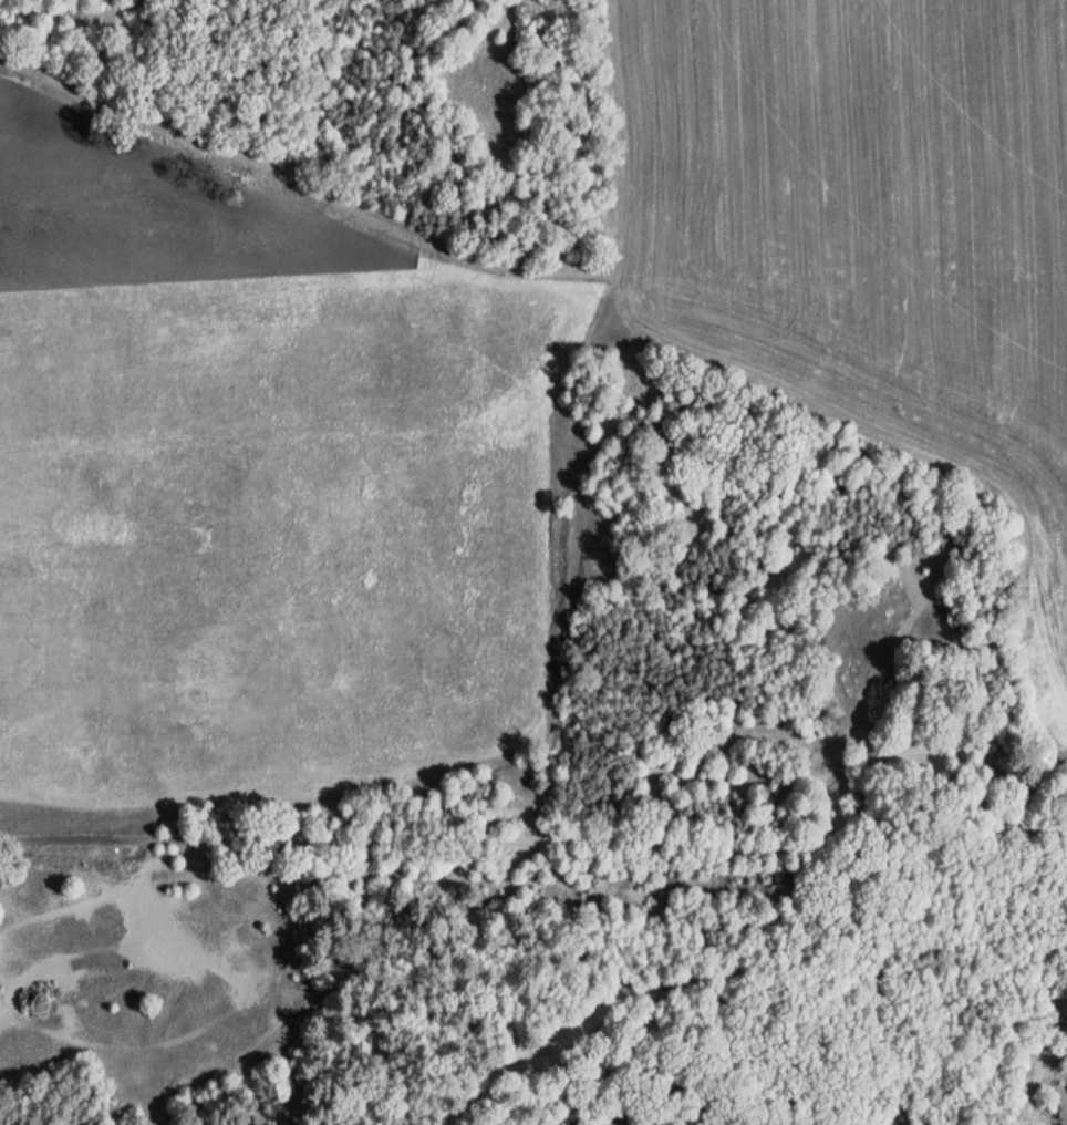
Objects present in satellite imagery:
road: (538, 847)

